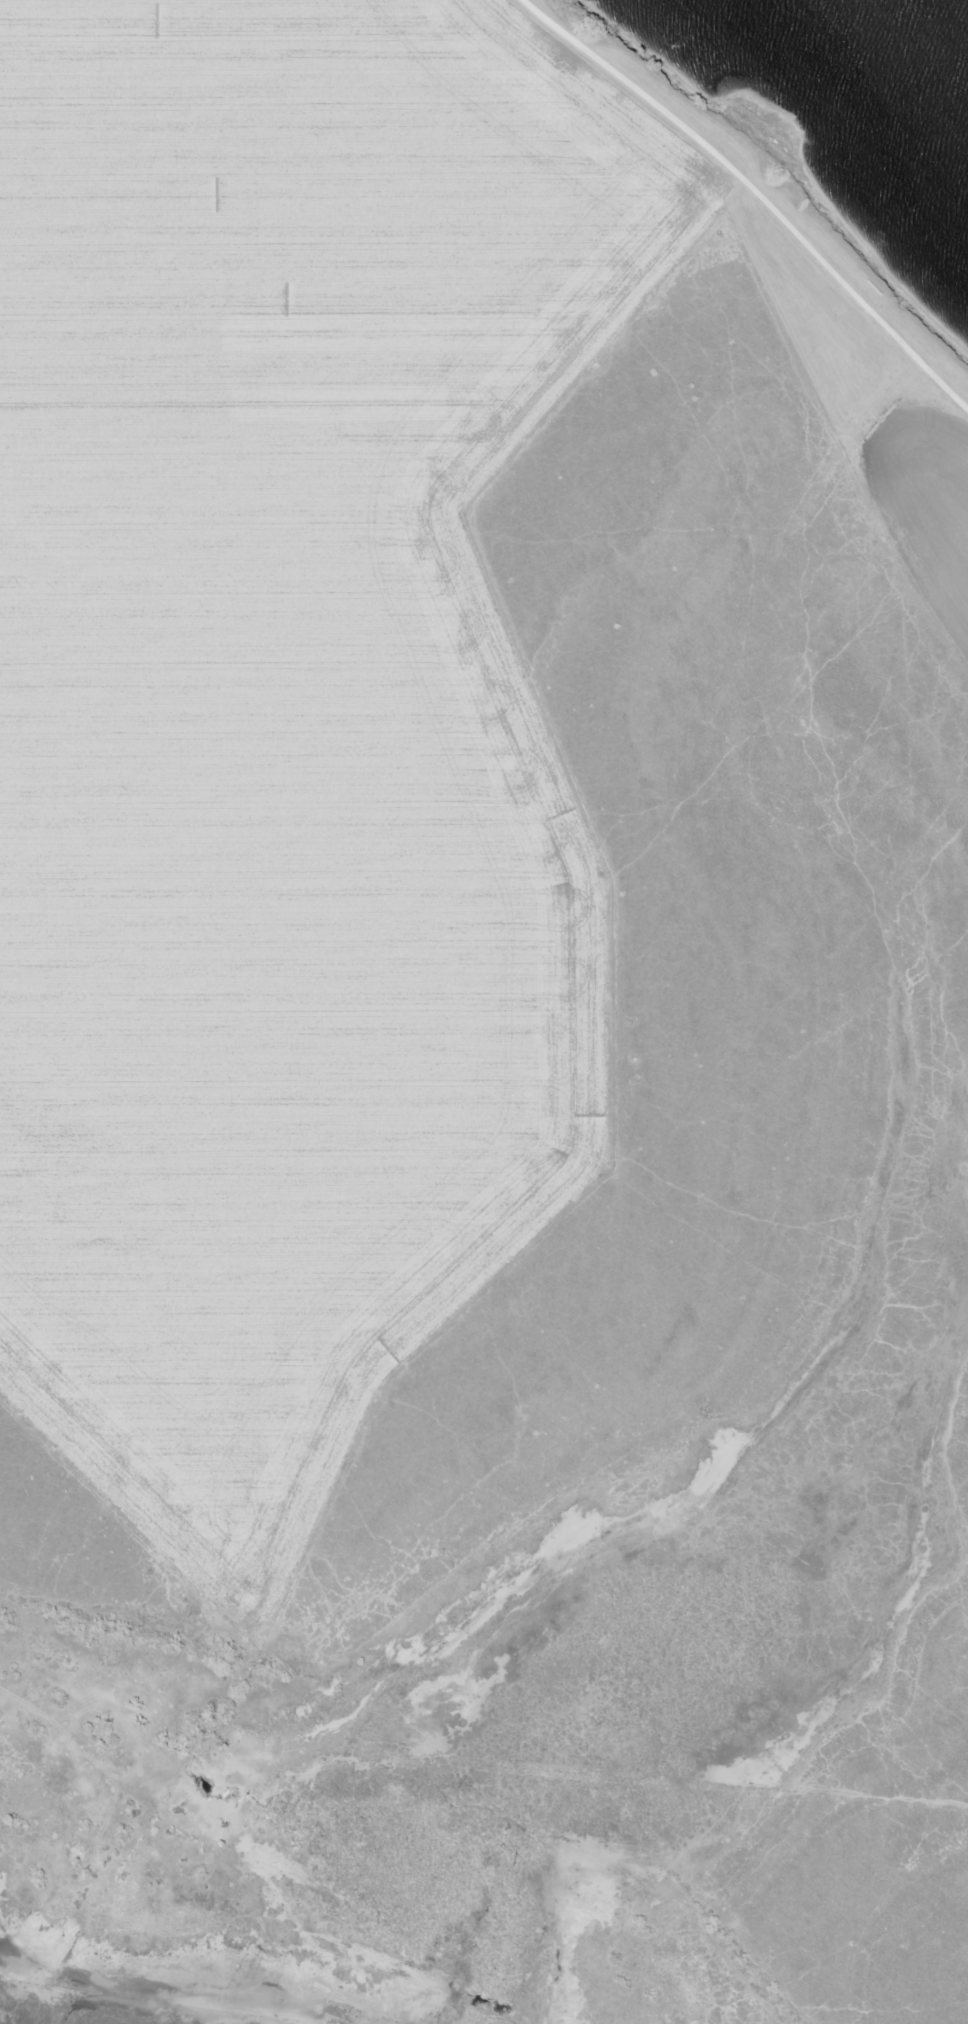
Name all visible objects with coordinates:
road: (751, 193)

